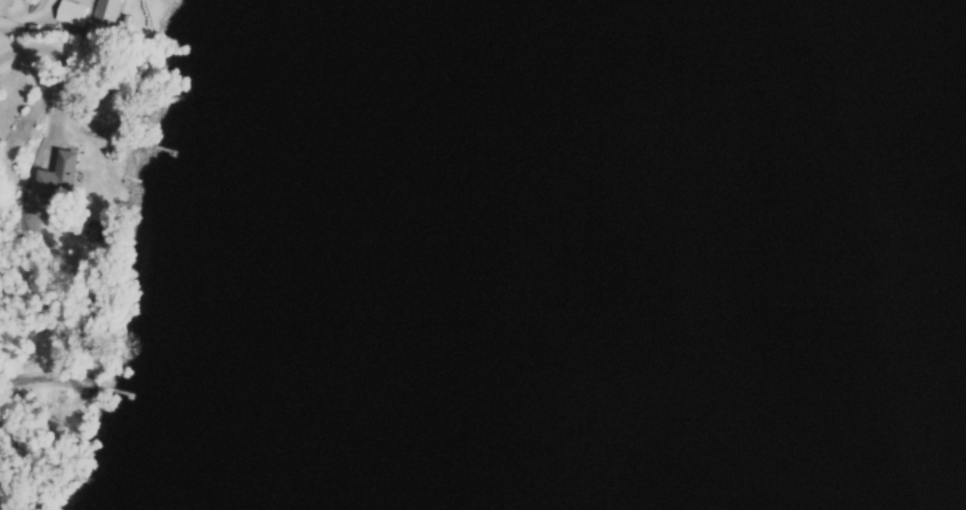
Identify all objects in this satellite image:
building: (103, 11)
building: (108, 106)
building: (53, 178)

